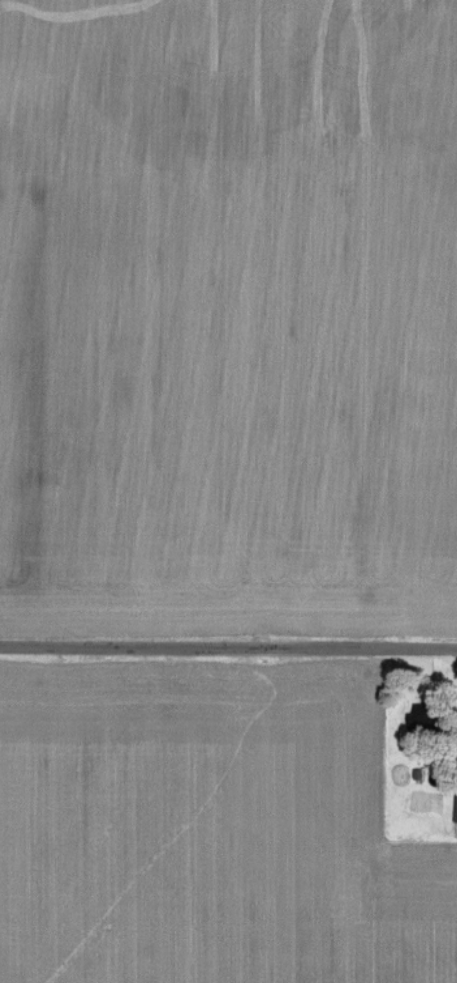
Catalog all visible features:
road: (228, 650)
building: (425, 711)

